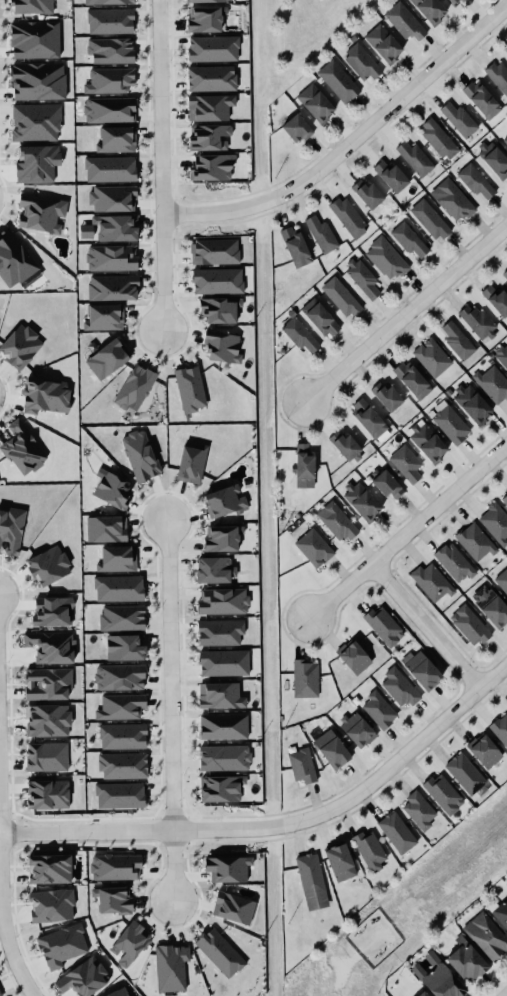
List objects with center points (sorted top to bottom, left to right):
building: (207, 1)
building: (107, 2)
building: (456, 2)
building: (32, 7)
building: (430, 10)
building: (205, 20)
building: (110, 22)
building: (404, 23)
park: (307, 35)
building: (384, 44)
building: (214, 49)
building: (111, 51)
building: (506, 51)
road: (308, 62)
building: (362, 64)
building: (498, 77)
building: (212, 79)
building: (109, 81)
building: (39, 82)
building: (339, 82)
building: (483, 100)
building: (316, 104)
building: (210, 108)
building: (110, 111)
building: (459, 120)
building: (298, 129)
building: (210, 138)
building: (116, 140)
building: (439, 140)
building: (505, 142)
road: (350, 144)
building: (416, 160)
building: (494, 160)
road: (163, 165)
building: (213, 168)
building: (110, 169)
building: (392, 177)
building: (475, 182)
building: (368, 195)
building: (113, 200)
building: (452, 202)
building: (41, 214)
building: (349, 218)
building: (430, 221)
building: (111, 229)
building: (322, 235)
building: (409, 240)
building: (296, 247)
building: (215, 253)
building: (111, 259)
building: (386, 260)
building: (14, 261)
building: (505, 274)
building: (362, 279)
building: (218, 282)
building: (113, 289)
building: (341, 298)
building: (496, 300)
building: (219, 311)
road: (407, 315)
building: (104, 318)
building: (320, 318)
building: (477, 322)
building: (300, 336)
building: (458, 342)
building: (21, 347)
building: (224, 348)
building: (502, 356)
building: (432, 358)
building: (107, 360)
building: (413, 381)
building: (493, 385)
building: (135, 389)
building: (190, 390)
building: (47, 397)
building: (387, 397)
building: (473, 405)
building: (371, 422)
building: (451, 425)
building: (428, 443)
building: (345, 446)
building: (23, 450)
building: (140, 457)
building: (305, 463)
building: (192, 465)
building: (406, 465)
building: (389, 486)
building: (114, 493)
building: (504, 499)
building: (361, 502)
building: (225, 503)
building: (338, 523)
building: (495, 524)
building: (106, 531)
building: (11, 532)
road: (406, 535)
building: (222, 540)
building: (475, 542)
building: (314, 549)
building: (117, 560)
building: (455, 563)
building: (50, 568)
building: (215, 571)
building: (502, 581)
building: (432, 583)
building: (119, 590)
building: (223, 602)
building: (491, 606)
building: (53, 613)
building: (122, 619)
building: (470, 626)
building: (384, 627)
road: (424, 628)
building: (221, 633)
building: (125, 649)
building: (354, 657)
building: (224, 664)
building: (422, 670)
building: (120, 678)
building: (305, 679)
building: (47, 685)
building: (399, 689)
building: (221, 697)
building: (121, 707)
road: (171, 711)
building: (379, 711)
building: (48, 721)
building: (224, 728)
building: (500, 730)
building: (359, 731)
building: (123, 737)
building: (333, 750)
building: (485, 752)
building: (47, 758)
building: (225, 759)
building: (123, 767)
building: (303, 767)
building: (465, 775)
building: (222, 790)
building: (48, 795)
building: (444, 795)
building: (120, 797)
building: (420, 812)
road: (282, 826)
building: (397, 834)
building: (370, 852)
building: (341, 863)
building: (115, 868)
building: (50, 870)
building: (228, 870)
building: (312, 883)
building: (115, 901)
building: (52, 907)
building: (234, 909)
building: (501, 915)
road: (3, 918)
building: (486, 937)
building: (129, 945)
building: (62, 947)
building: (220, 954)
building: (468, 962)
building: (171, 969)
building: (443, 983)
building: (120, 993)
building: (422, 994)
building: (0, 995)

